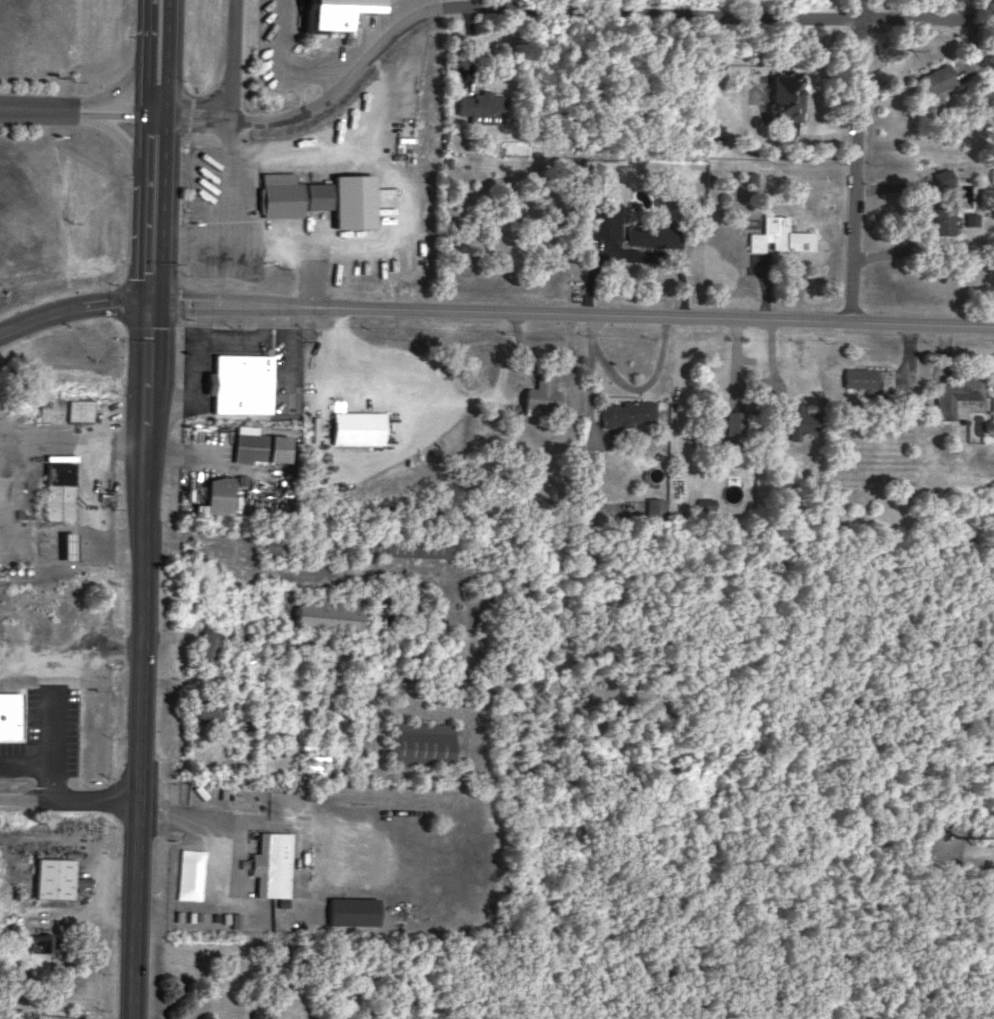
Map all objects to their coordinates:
road: (553, 11)
building: (334, 12)
road: (145, 58)
road: (167, 58)
road: (289, 60)
road: (233, 61)
building: (934, 81)
building: (785, 93)
building: (481, 106)
road: (77, 112)
road: (856, 161)
building: (752, 176)
building: (942, 176)
building: (319, 196)
building: (942, 215)
building: (969, 217)
building: (604, 218)
building: (654, 233)
building: (778, 235)
traffic signals: (149, 308)
road: (72, 312)
road: (571, 314)
road: (201, 322)
road: (266, 323)
road: (231, 336)
road: (296, 348)
road: (335, 352)
road: (193, 364)
building: (866, 376)
building: (240, 383)
building: (954, 393)
building: (539, 394)
road: (170, 403)
building: (63, 409)
building: (627, 411)
building: (794, 420)
building: (357, 426)
building: (257, 444)
building: (58, 490)
building: (217, 495)
building: (655, 508)
building: (705, 509)
building: (398, 544)
building: (65, 545)
road: (141, 566)
building: (329, 613)
building: (206, 648)
building: (203, 707)
building: (7, 714)
building: (248, 721)
building: (419, 742)
road: (49, 743)
road: (24, 762)
road: (66, 799)
road: (218, 819)
building: (272, 863)
building: (52, 877)
building: (353, 910)
building: (236, 919)
building: (40, 940)
building: (54, 1016)

